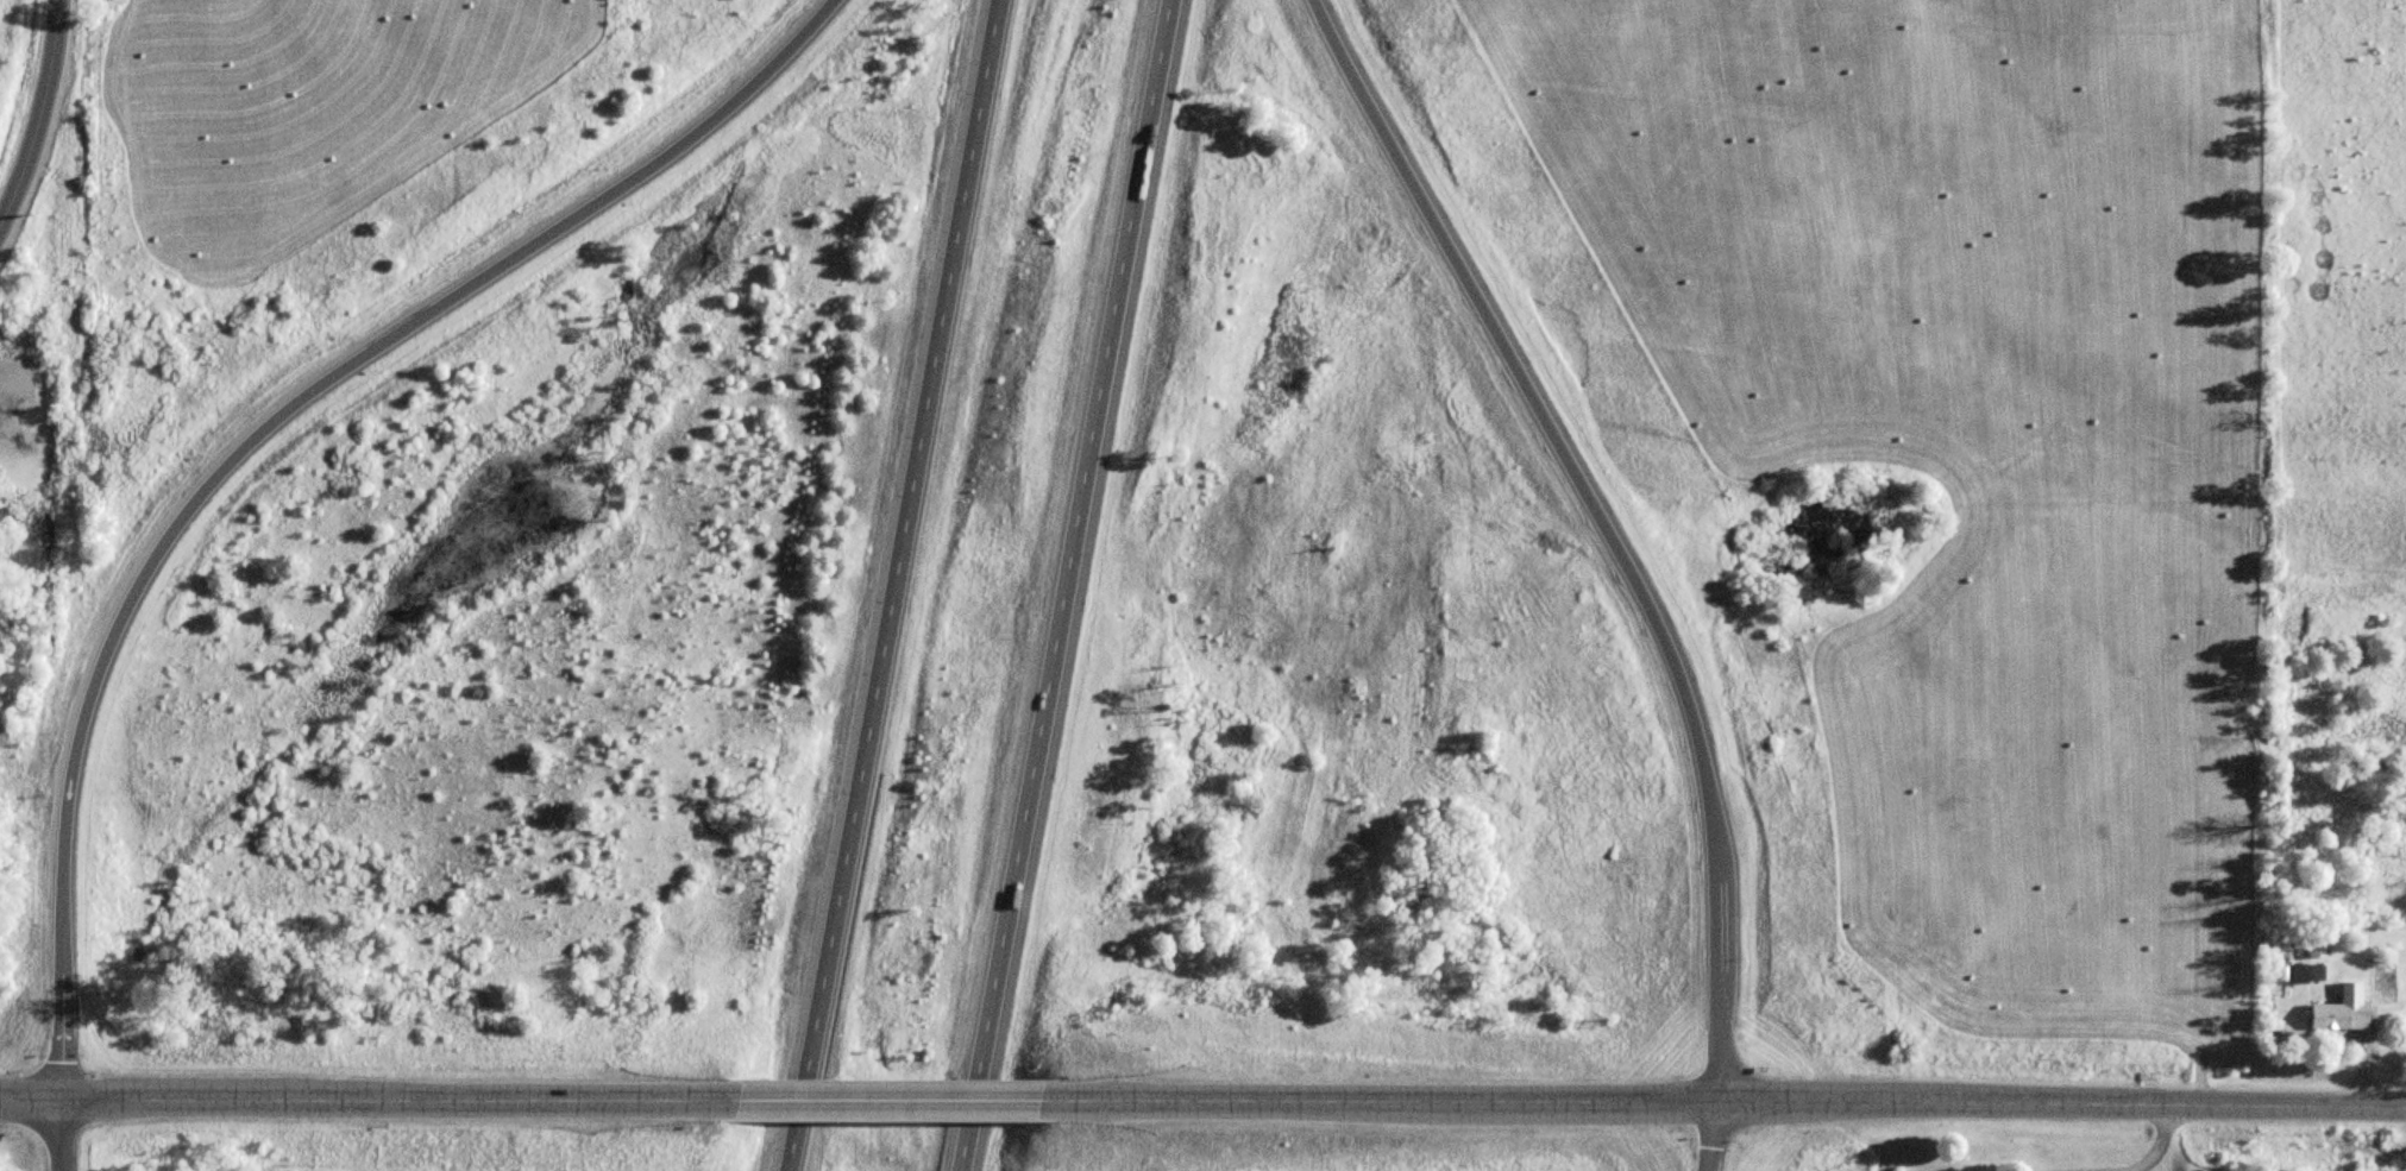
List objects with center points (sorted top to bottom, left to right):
road: (34, 107)
road: (258, 432)
road: (1603, 523)
road: (894, 585)
road: (1067, 585)
building: (2342, 1008)
road: (30, 1094)
road: (395, 1095)
road: (890, 1097)
road: (1384, 1098)
road: (2062, 1102)
road: (61, 1132)
road: (1714, 1134)

